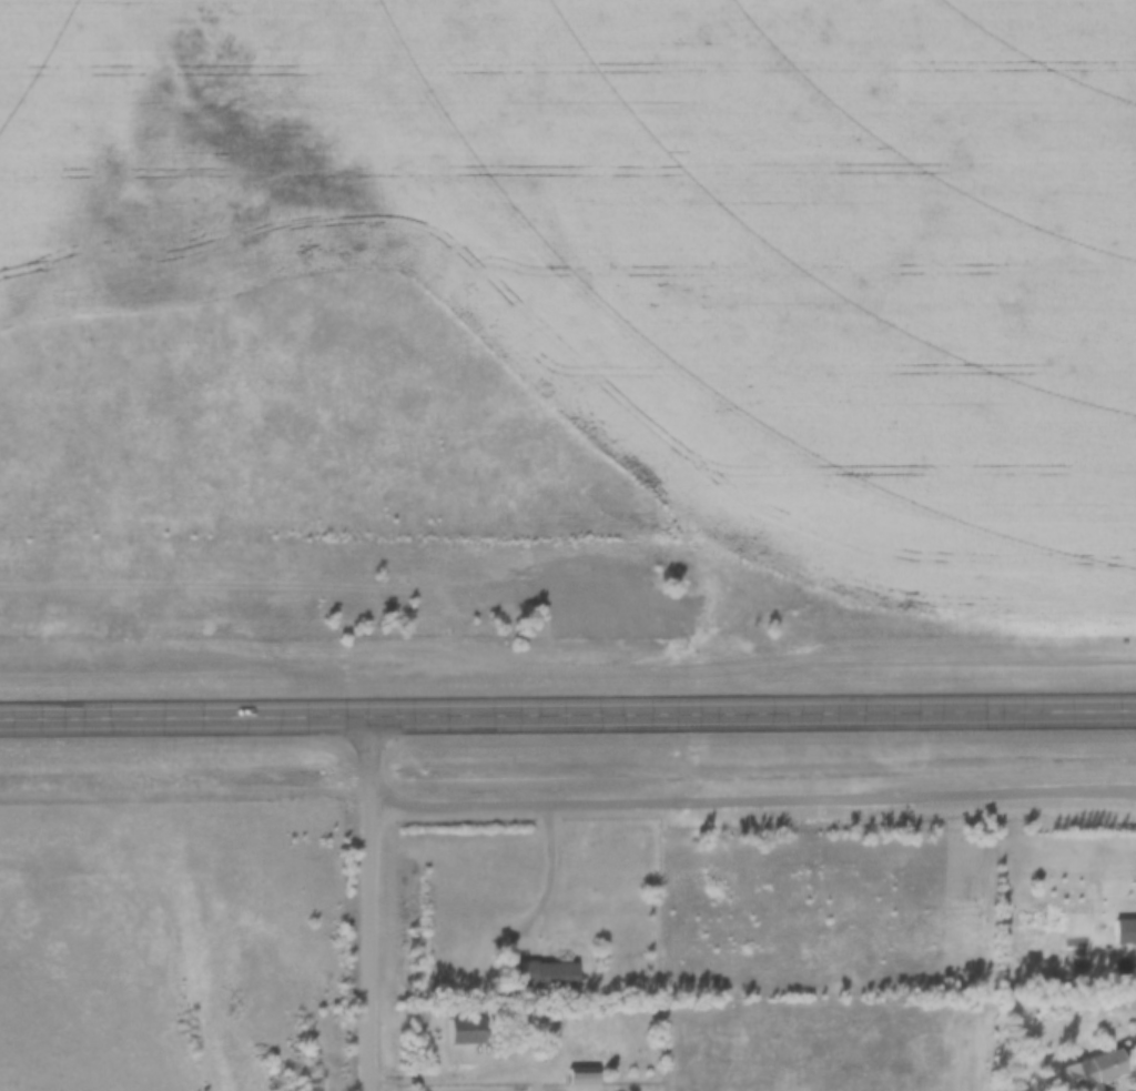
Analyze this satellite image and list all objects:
road: (567, 708)
road: (751, 797)
road: (549, 880)
road: (367, 900)
building: (1126, 929)
building: (545, 972)
building: (467, 1030)
building: (1094, 1070)
building: (582, 1078)

